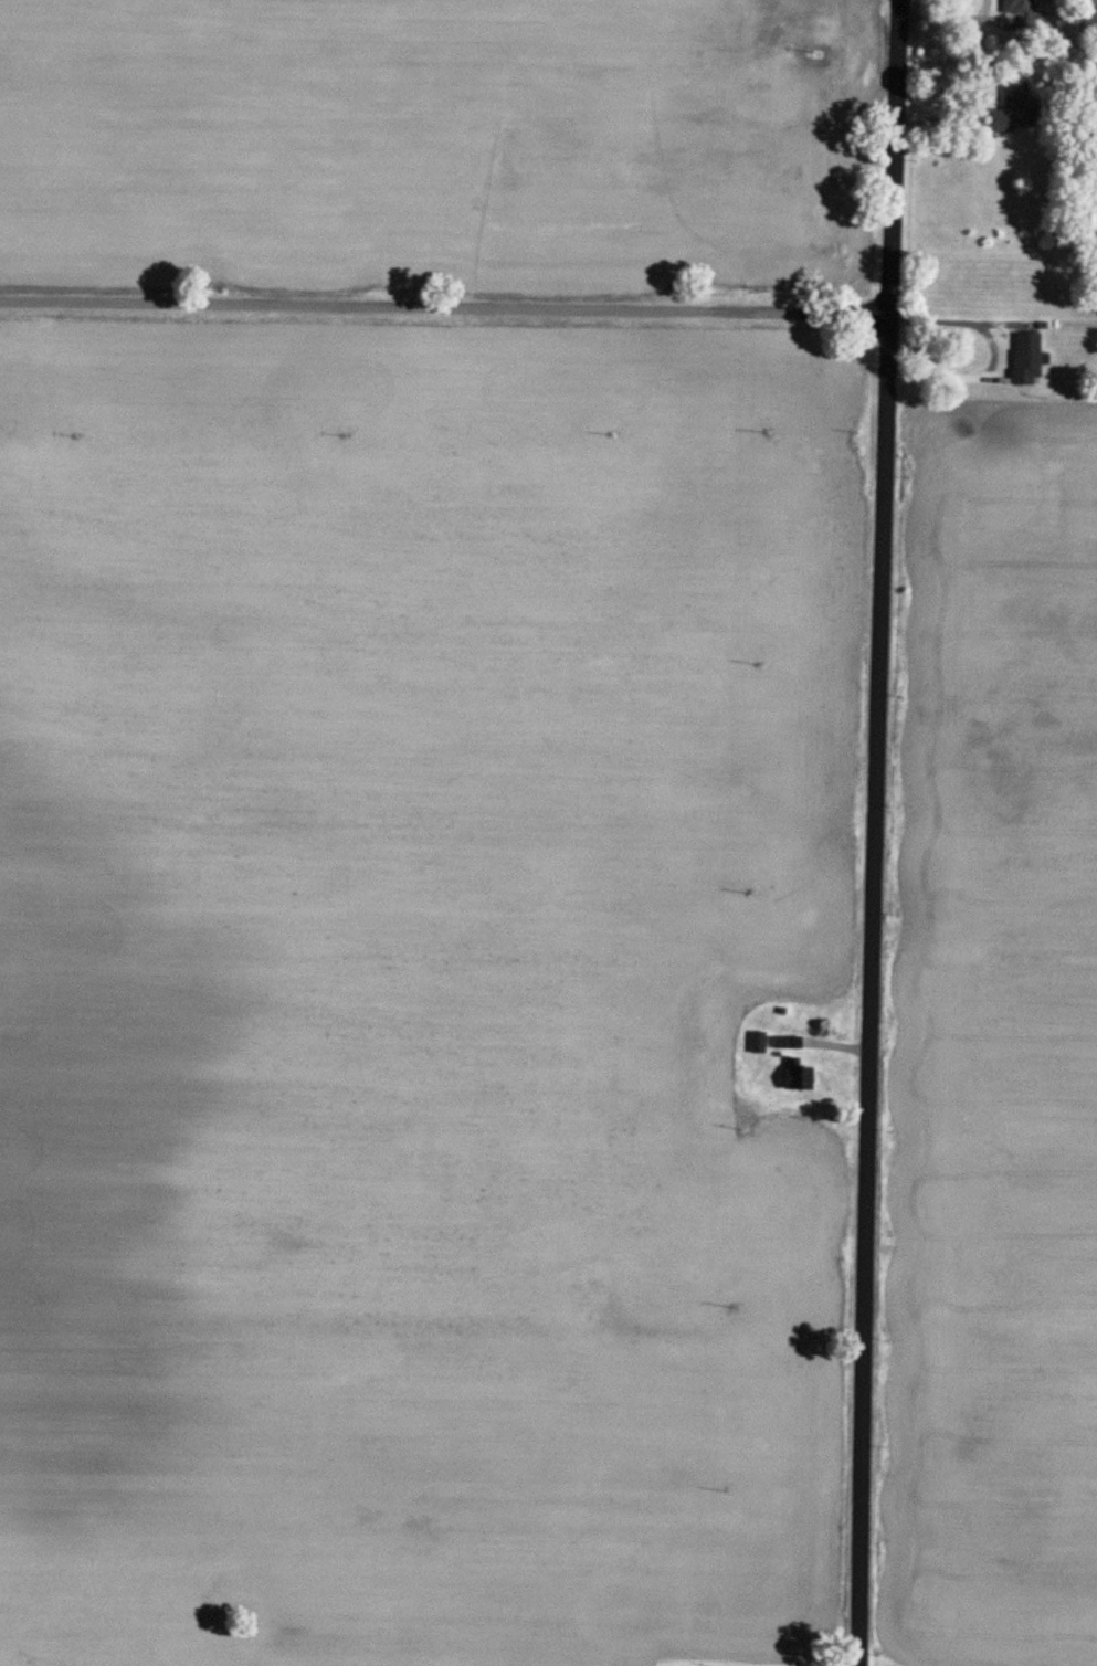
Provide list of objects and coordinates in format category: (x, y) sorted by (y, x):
building: (1017, 8)
road: (951, 19)
building: (745, 24)
building: (1014, 103)
road: (449, 310)
building: (1024, 358)
road: (879, 832)
building: (757, 1042)
building: (784, 1043)
building: (730, 1069)
building: (794, 1075)
building: (720, 1122)

